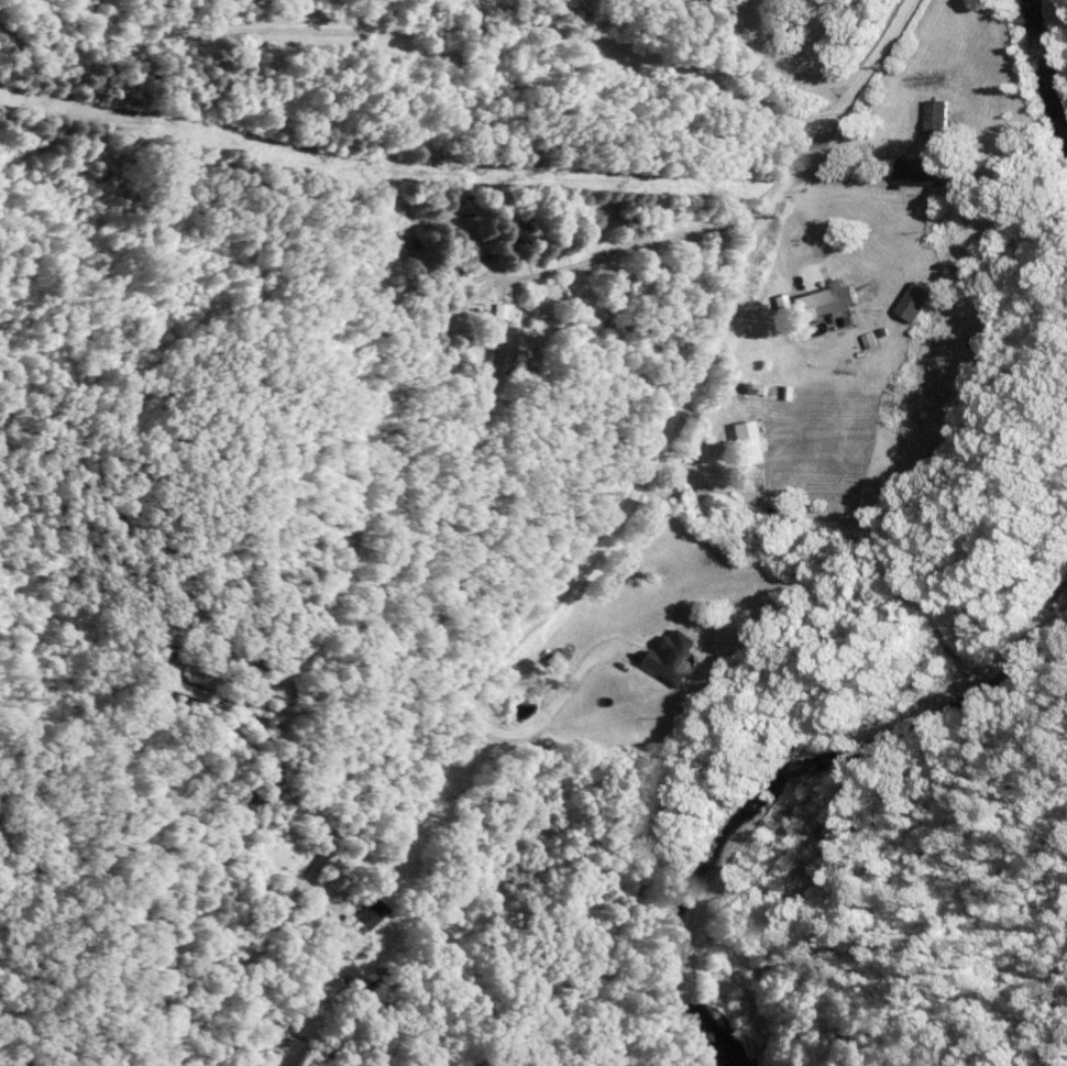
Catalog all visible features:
road: (424, 32)
road: (875, 56)
road: (777, 66)
river: (1037, 78)
building: (921, 172)
road: (791, 253)
building: (825, 299)
building: (915, 303)
building: (505, 310)
building: (505, 348)
road: (933, 365)
building: (749, 442)
road: (381, 475)
road: (910, 601)
road: (546, 616)
building: (671, 657)
building: (561, 661)
road: (129, 861)
building: (374, 914)

